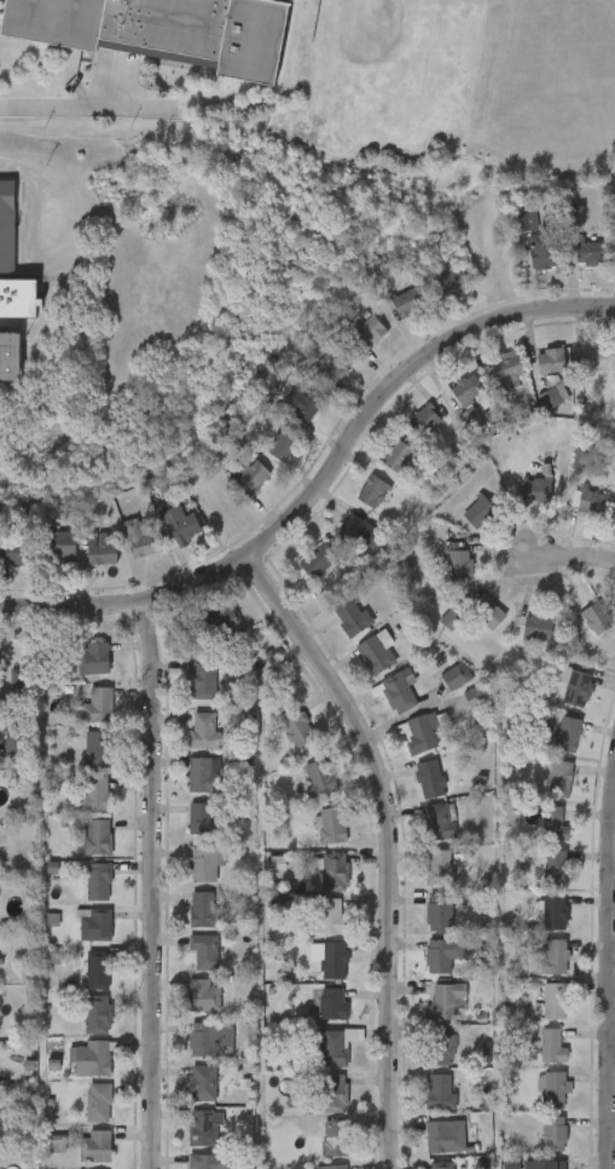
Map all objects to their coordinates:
building: (159, 30)
park: (460, 90)
road: (83, 105)
building: (575, 215)
building: (528, 221)
building: (540, 248)
building: (590, 250)
building: (12, 261)
building: (452, 280)
building: (407, 300)
building: (370, 330)
building: (10, 356)
building: (592, 356)
building: (551, 359)
building: (336, 361)
building: (506, 367)
building: (465, 387)
building: (553, 393)
building: (303, 399)
building: (424, 419)
building: (471, 419)
building: (283, 439)
building: (399, 455)
building: (253, 474)
road: (324, 483)
building: (536, 488)
building: (373, 491)
building: (592, 501)
building: (478, 509)
building: (181, 525)
building: (359, 531)
building: (141, 536)
building: (58, 545)
building: (100, 548)
building: (14, 549)
road: (573, 558)
building: (320, 559)
building: (458, 562)
building: (487, 611)
building: (350, 615)
building: (451, 617)
building: (594, 621)
building: (224, 624)
building: (538, 627)
building: (376, 653)
building: (98, 657)
building: (202, 678)
building: (17, 679)
building: (453, 679)
building: (573, 683)
building: (398, 692)
building: (476, 701)
building: (97, 704)
building: (295, 726)
building: (203, 729)
building: (419, 731)
building: (568, 732)
building: (13, 735)
building: (98, 748)
building: (204, 773)
building: (319, 776)
building: (429, 777)
building: (559, 778)
building: (97, 791)
building: (202, 817)
building: (439, 819)
building: (553, 823)
building: (330, 824)
building: (28, 831)
building: (97, 835)
road: (390, 842)
building: (205, 862)
building: (278, 863)
building: (440, 865)
building: (556, 866)
building: (333, 871)
building: (98, 880)
road: (152, 883)
building: (203, 908)
building: (439, 911)
building: (555, 911)
building: (331, 916)
building: (93, 923)
building: (203, 944)
building: (439, 954)
building: (555, 955)
building: (333, 960)
building: (97, 971)
road: (611, 987)
building: (204, 995)
building: (446, 1000)
building: (555, 1001)
building: (332, 1002)
building: (98, 1013)
building: (210, 1038)
building: (552, 1044)
building: (335, 1046)
building: (441, 1047)
building: (98, 1055)
building: (54, 1065)
building: (203, 1083)
building: (555, 1089)
building: (439, 1092)
building: (332, 1093)
building: (98, 1101)
building: (204, 1127)
building: (555, 1133)
building: (439, 1135)
building: (337, 1138)
building: (58, 1144)
building: (95, 1145)
building: (203, 1161)
building: (442, 1164)
building: (512, 1164)
building: (544, 1164)
building: (336, 1167)

